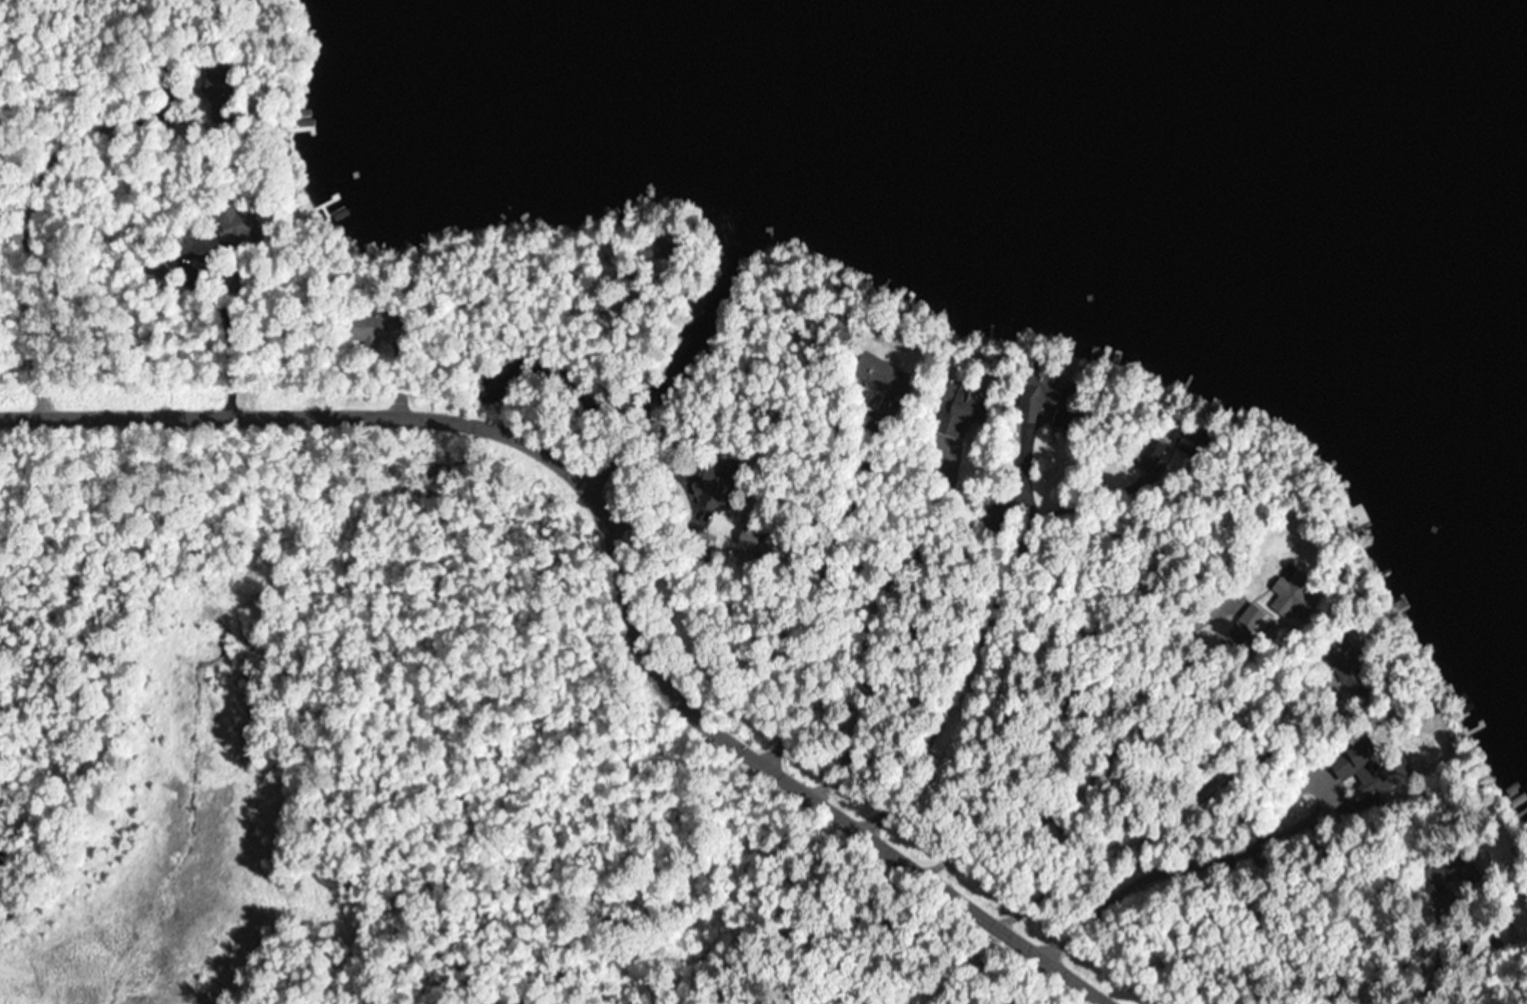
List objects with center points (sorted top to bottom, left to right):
road: (78, 48)
building: (216, 83)
building: (234, 221)
building: (653, 248)
building: (696, 306)
building: (369, 328)
building: (879, 376)
building: (1037, 395)
building: (954, 408)
building: (1154, 450)
building: (714, 481)
building: (998, 512)
building: (1350, 518)
road: (610, 560)
building: (1283, 593)
road: (989, 606)
building: (1244, 626)
building: (1362, 749)
building: (1380, 778)
building: (1518, 909)

